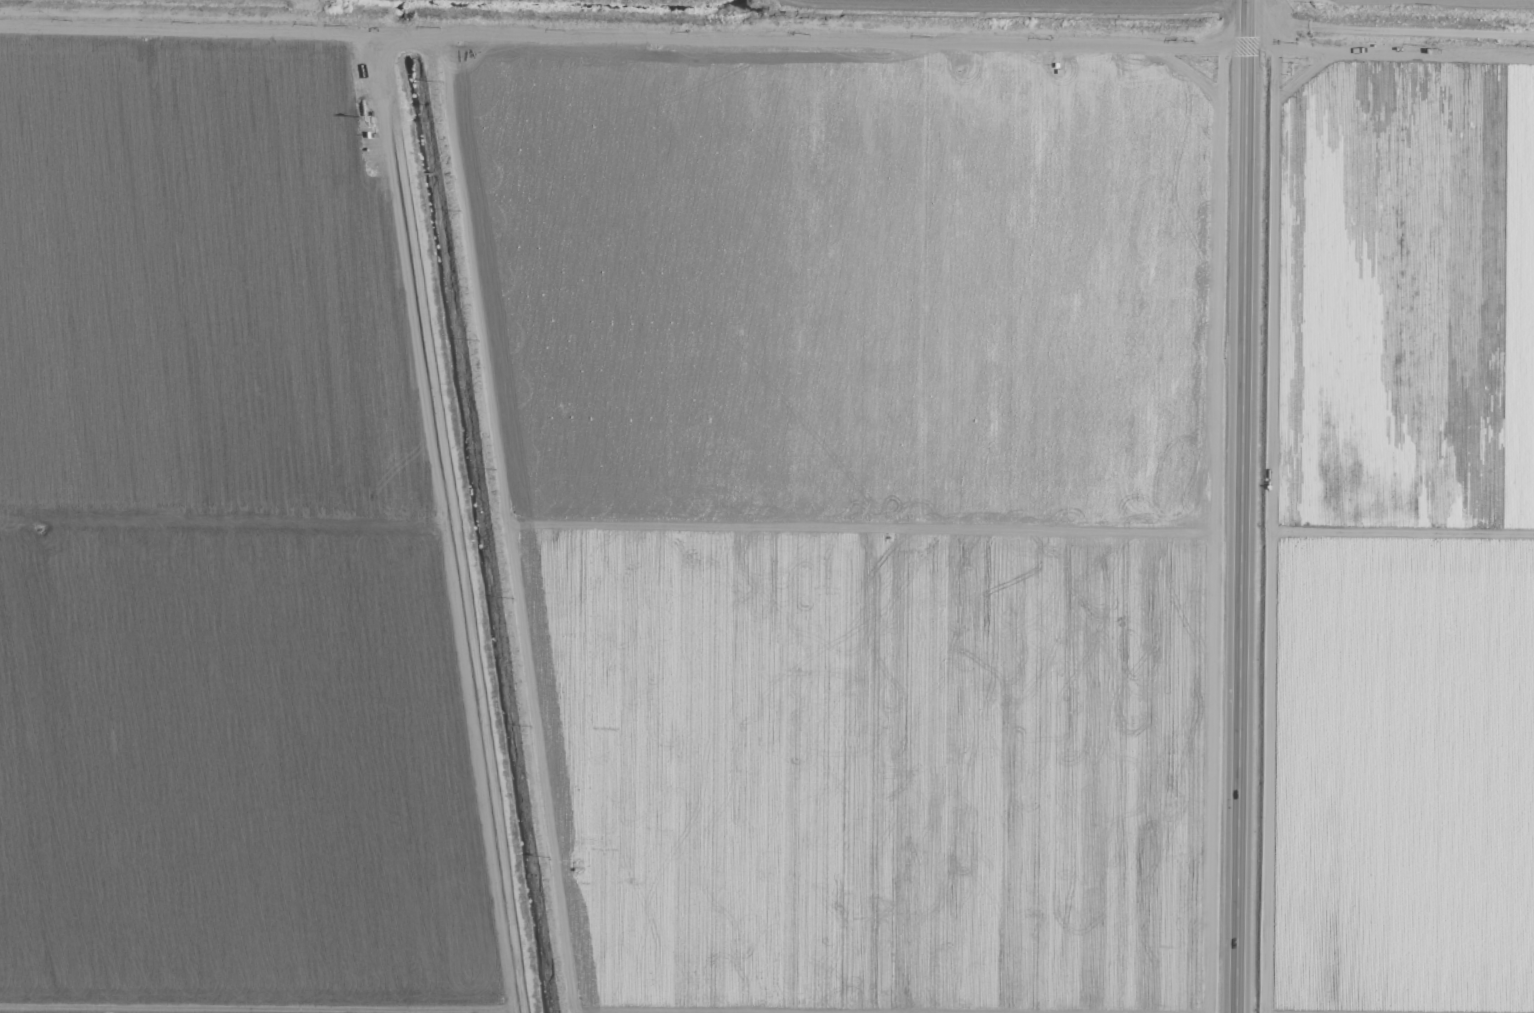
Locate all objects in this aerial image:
road: (767, 36)
road: (475, 408)
crop: (614, 505)
road: (1240, 506)
crop: (1400, 509)

